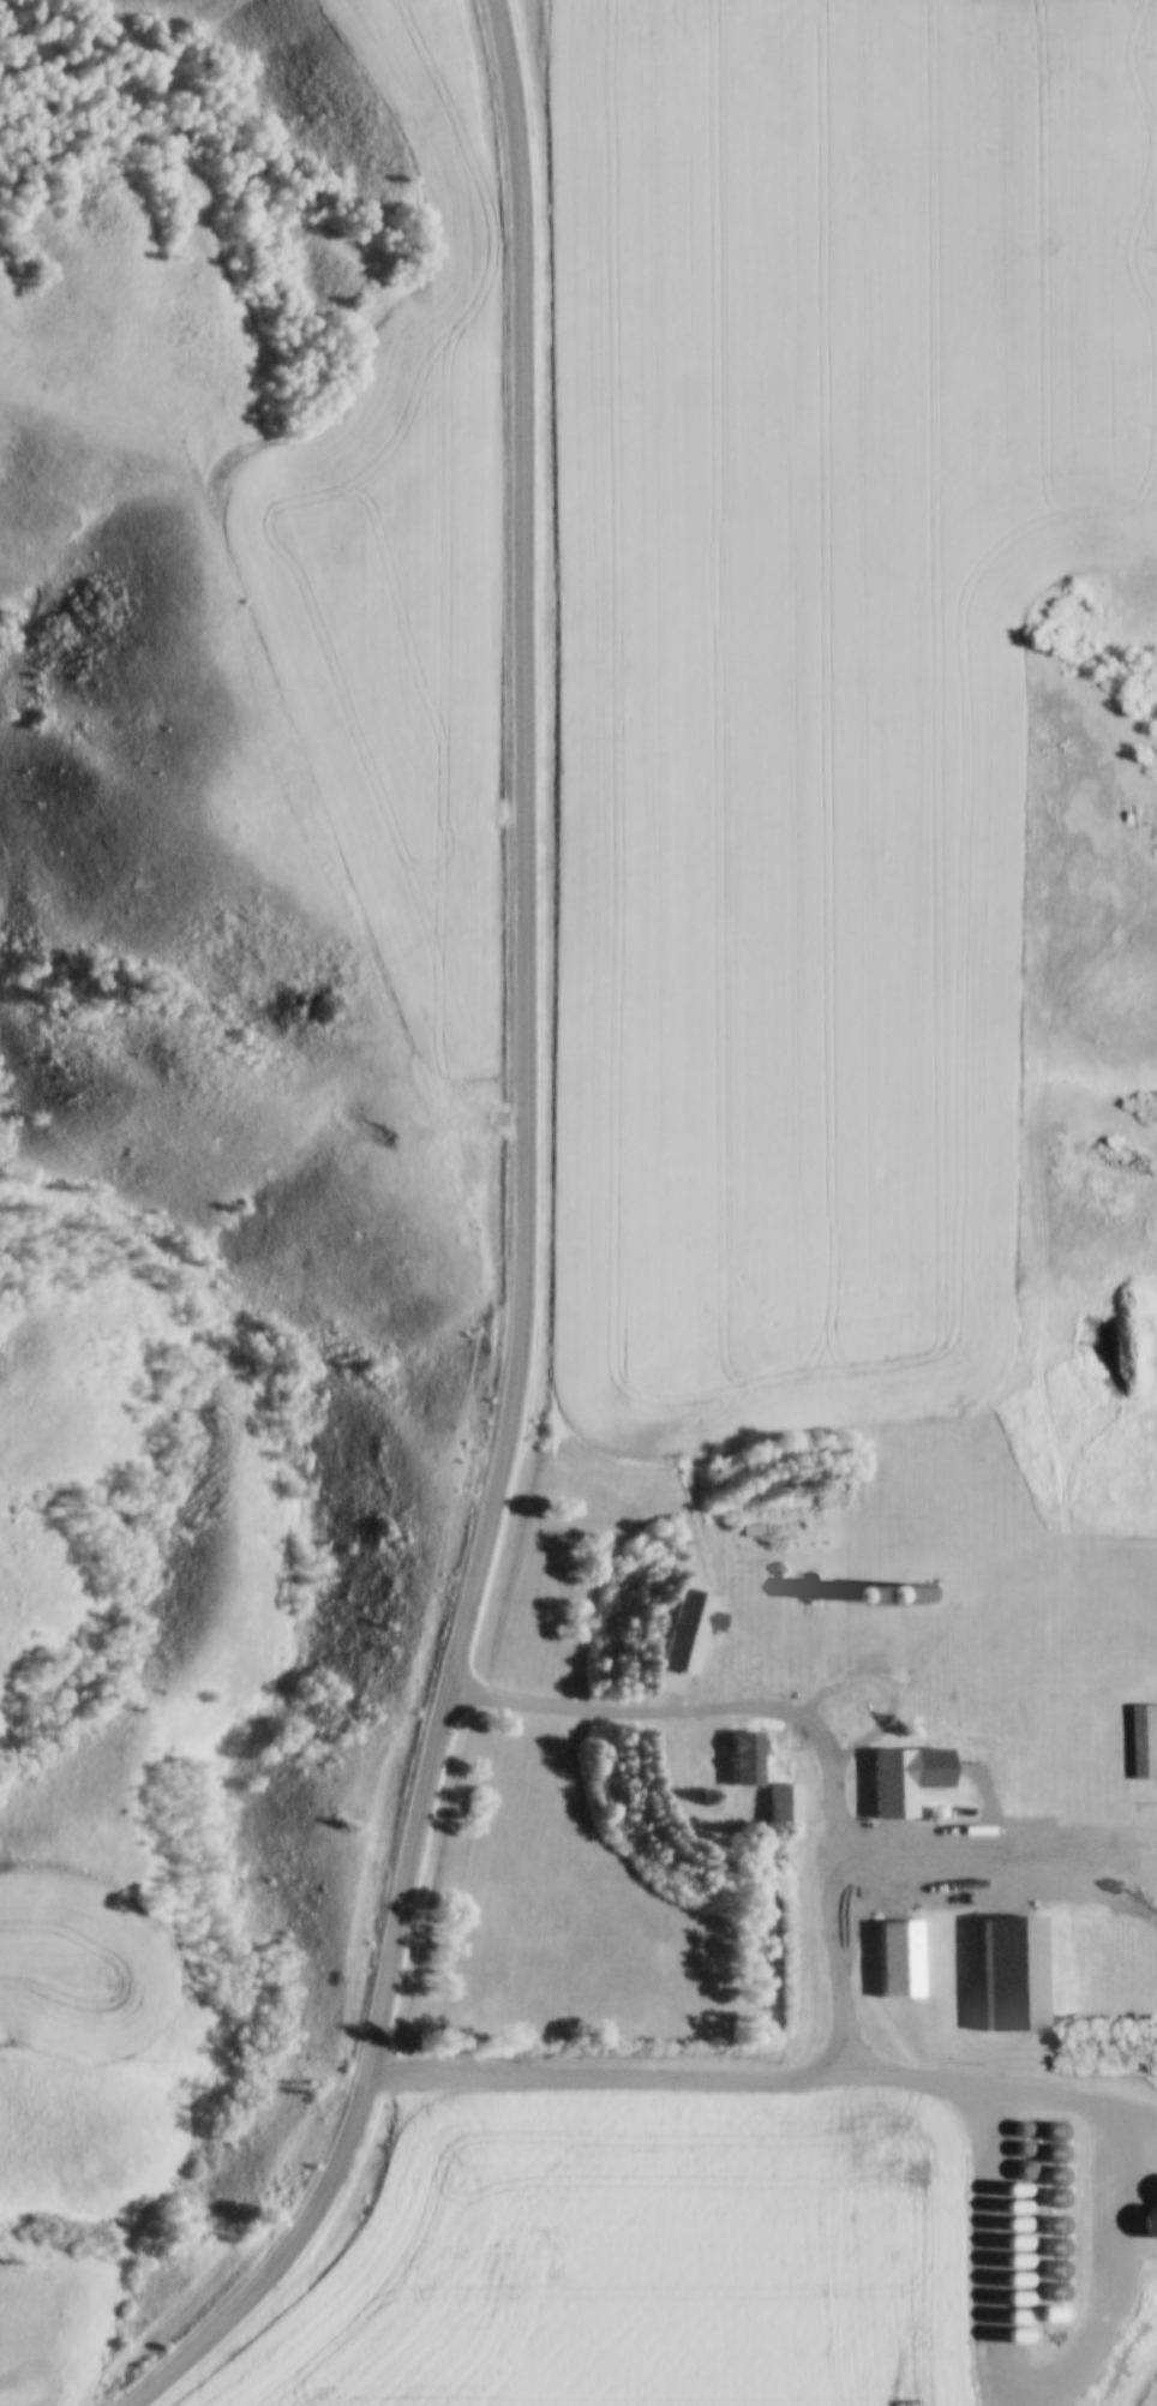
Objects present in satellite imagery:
road: (523, 1034)
building: (891, 1576)
building: (688, 1632)
building: (1147, 1743)
building: (757, 1750)
building: (889, 1784)
building: (790, 1806)
road: (837, 1951)
building: (895, 1959)
building: (1007, 1975)
road: (1000, 2185)
road: (286, 2251)

